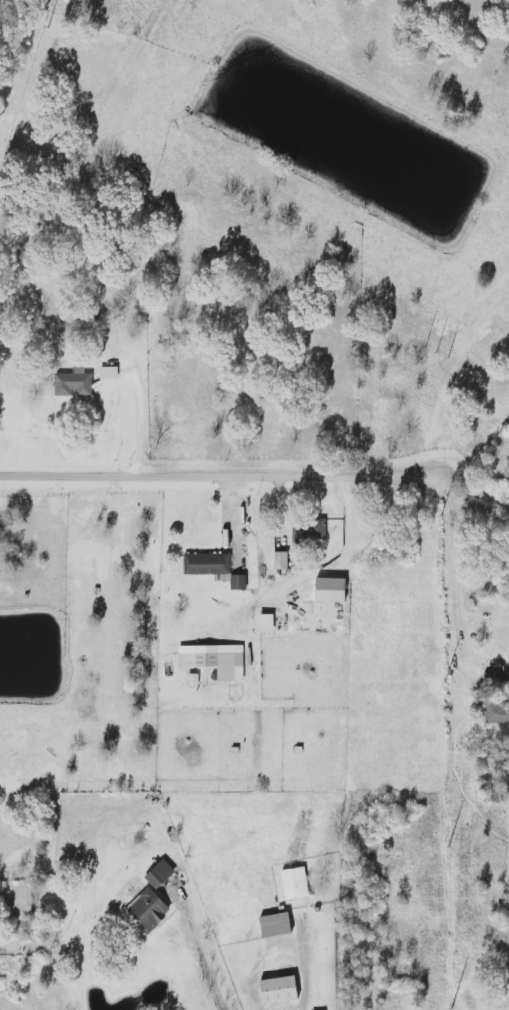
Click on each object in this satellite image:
power tower: (45, 27)
building: (110, 373)
building: (75, 381)
road: (139, 424)
road: (224, 478)
building: (313, 533)
building: (276, 560)
road: (343, 561)
building: (203, 564)
building: (324, 590)
building: (261, 623)
building: (211, 660)
building: (155, 874)
building: (290, 883)
building: (143, 910)
building: (269, 925)
road: (201, 958)
building: (272, 990)

